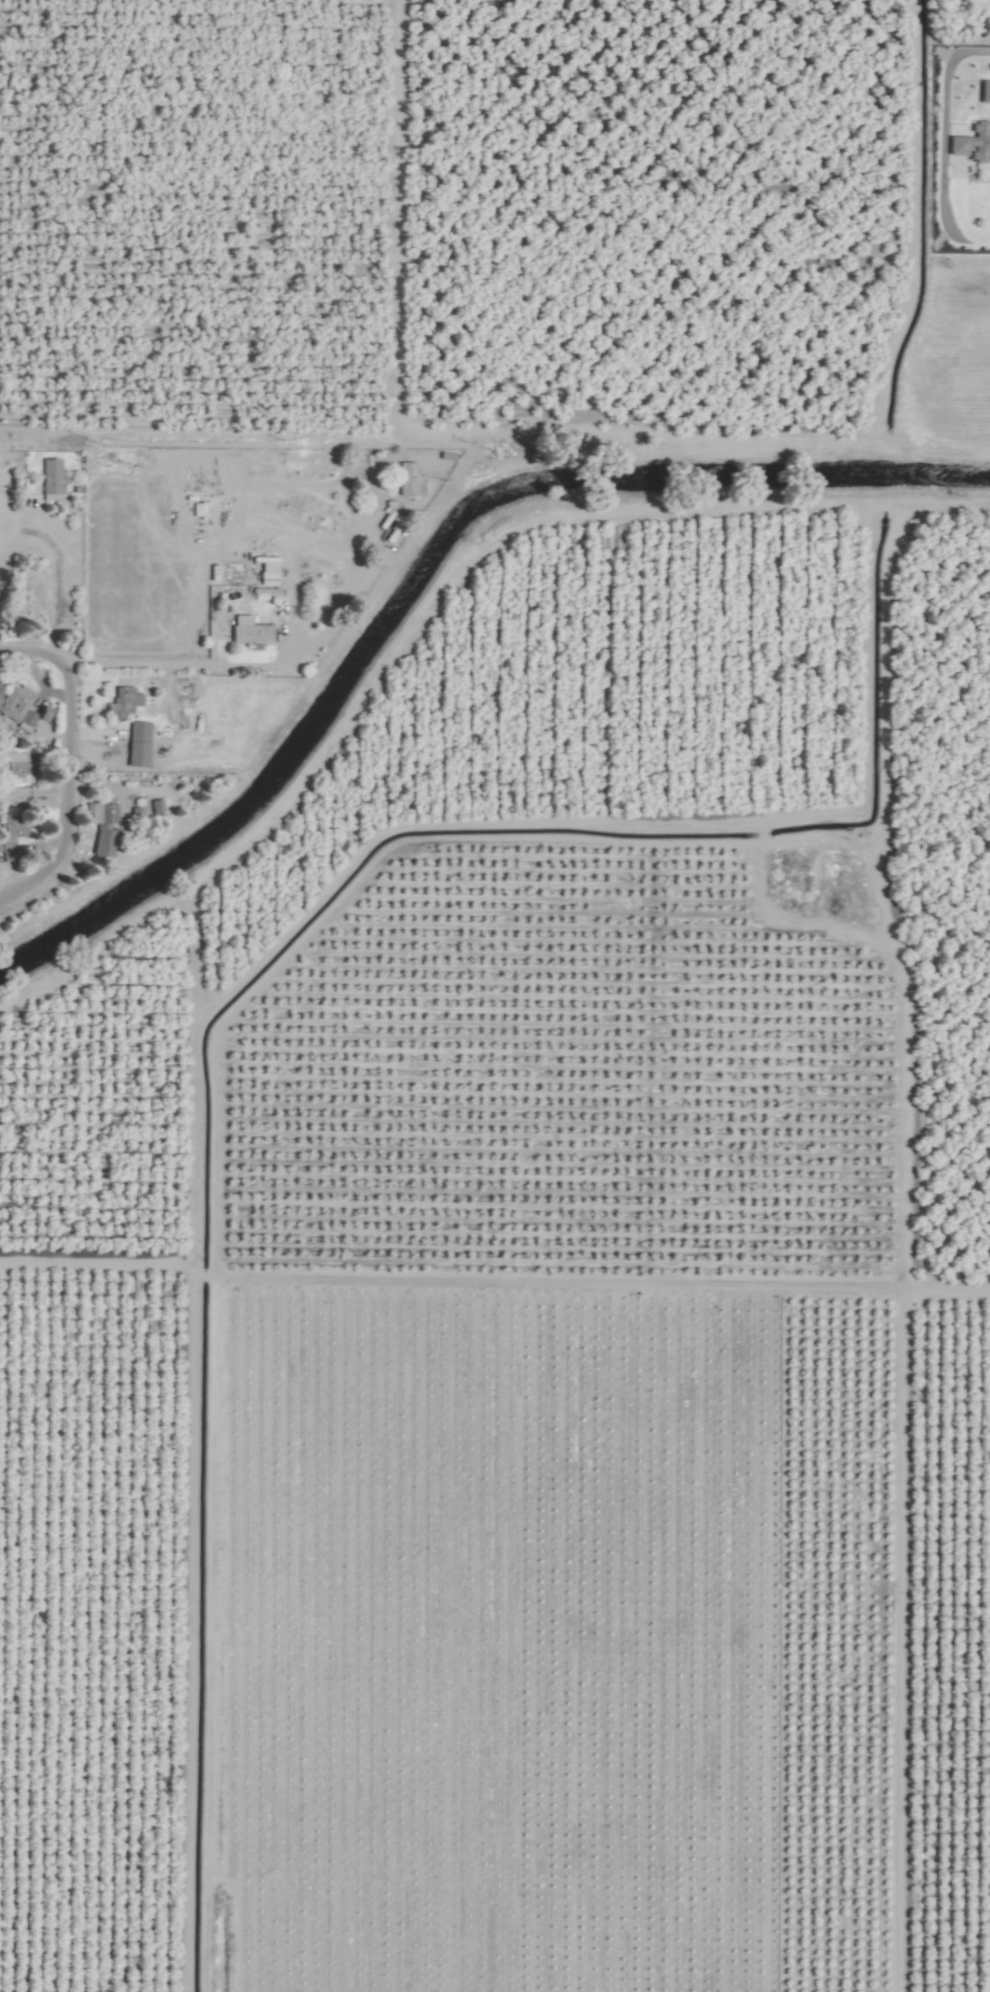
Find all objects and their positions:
building: (970, 143)
building: (50, 477)
building: (408, 480)
road: (60, 582)
building: (34, 593)
building: (247, 631)
road: (29, 652)
road: (267, 666)
building: (122, 701)
building: (15, 703)
building: (138, 730)
building: (16, 763)
road: (71, 791)
building: (99, 813)
building: (9, 829)
building: (101, 843)
crop: (495, 996)

